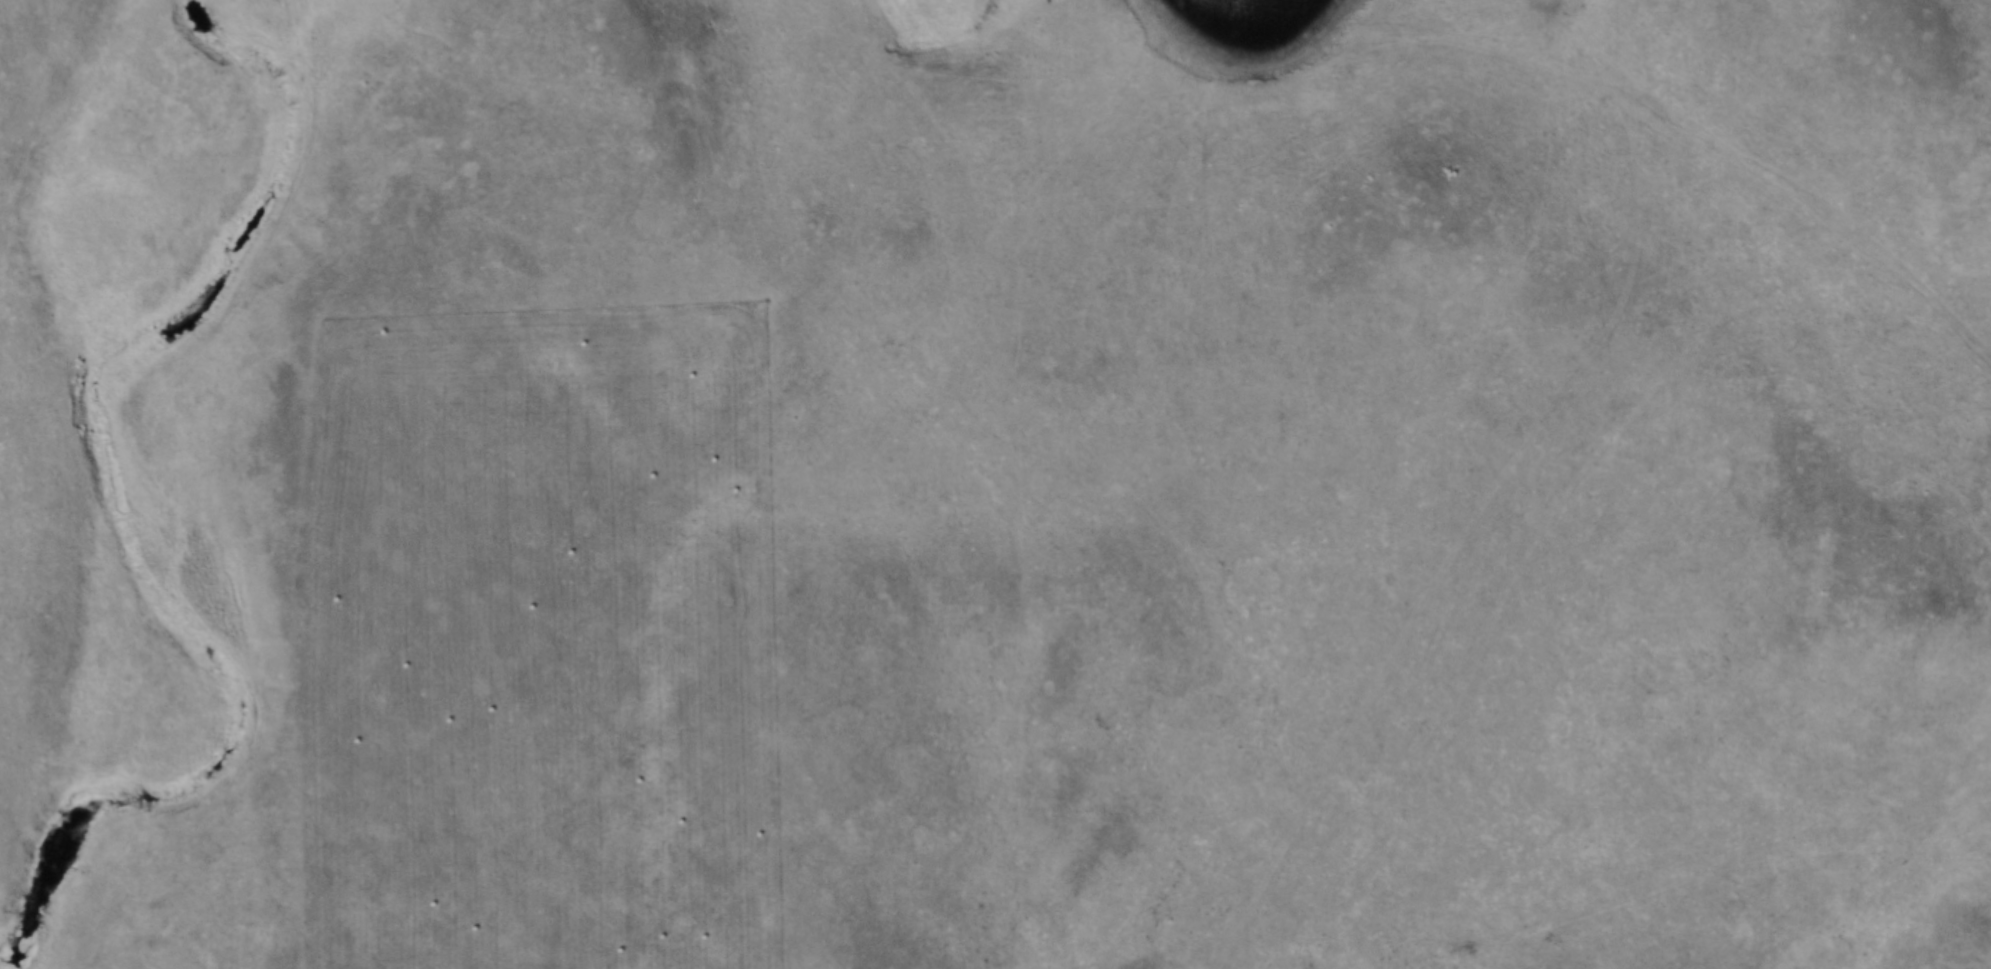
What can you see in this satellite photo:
road: (1666, 126)
road: (1492, 499)
road: (1707, 878)

